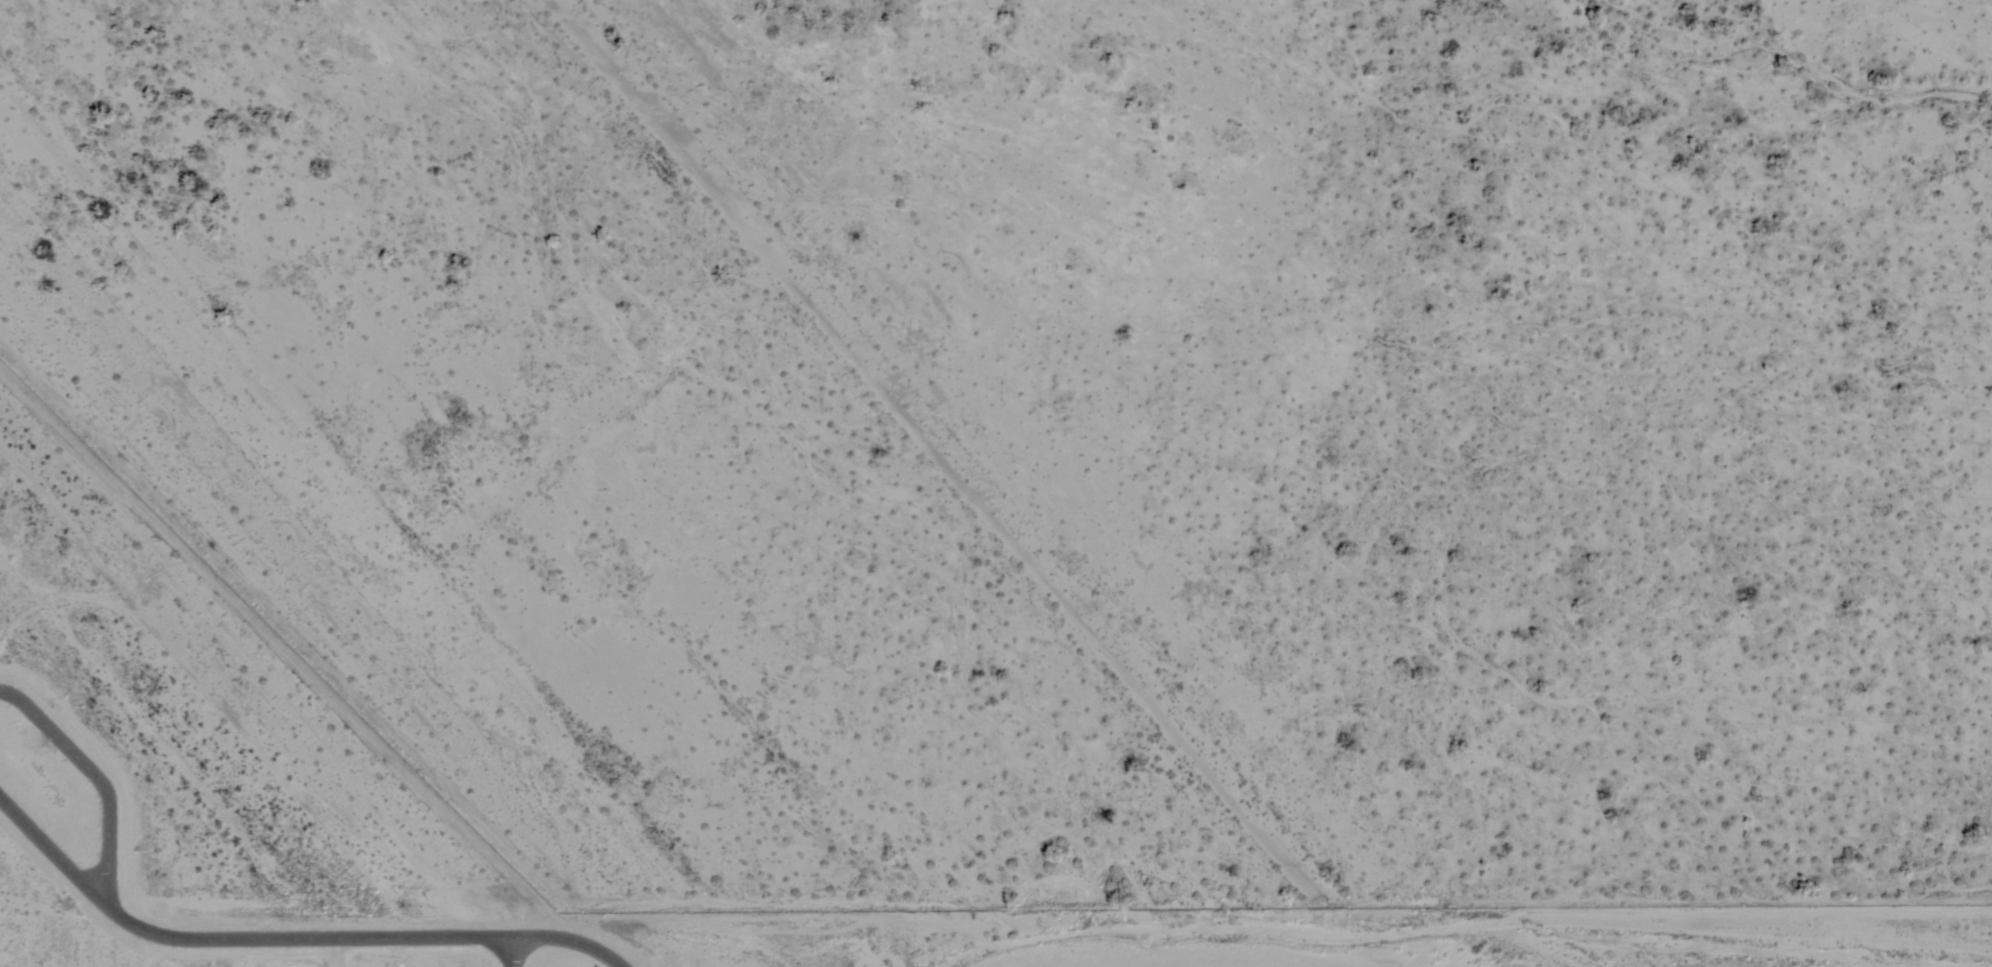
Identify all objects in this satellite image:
road: (98, 779)
road: (96, 883)
road: (288, 937)
road: (500, 945)
road: (524, 945)
road: (512, 951)

